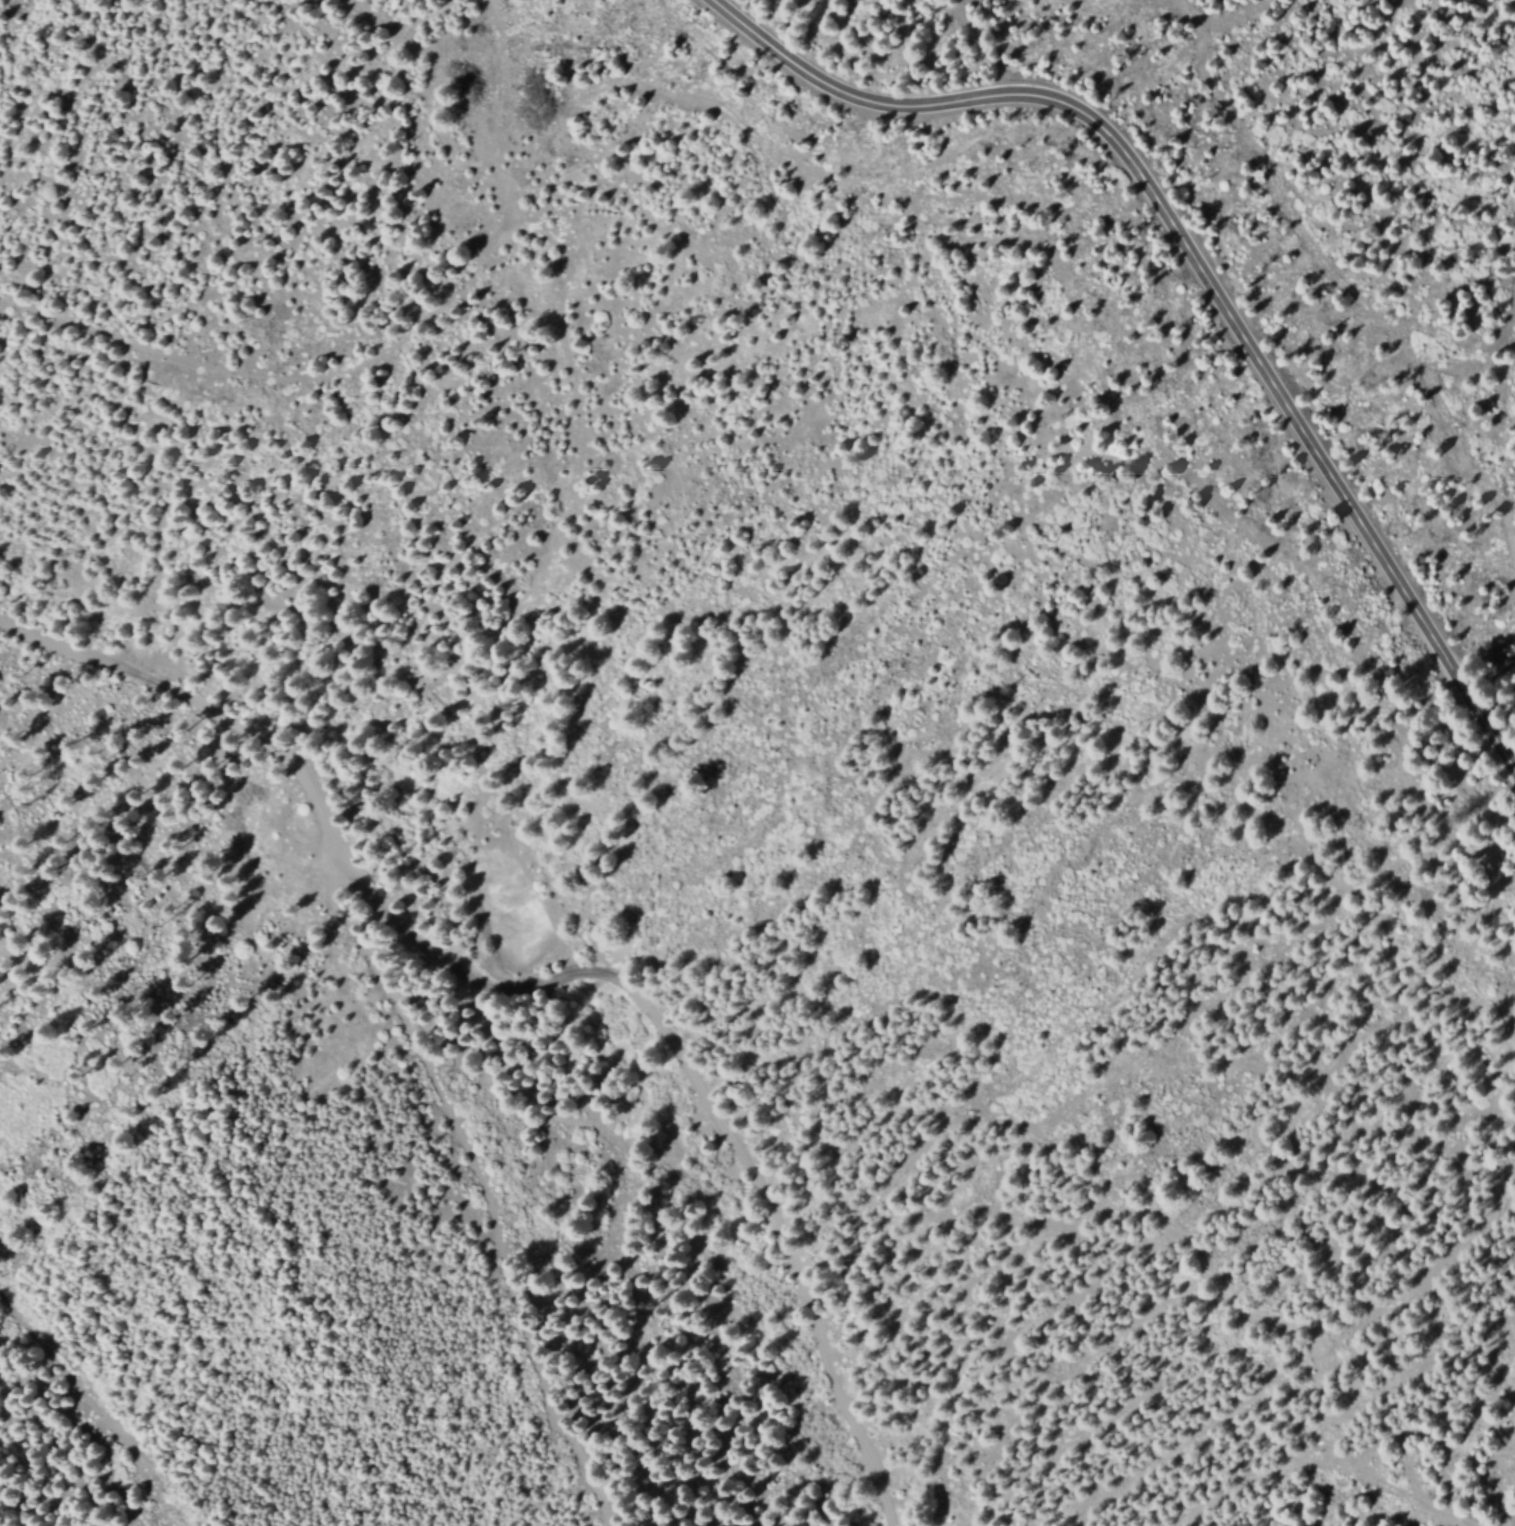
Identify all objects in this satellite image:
road: (1200, 260)

